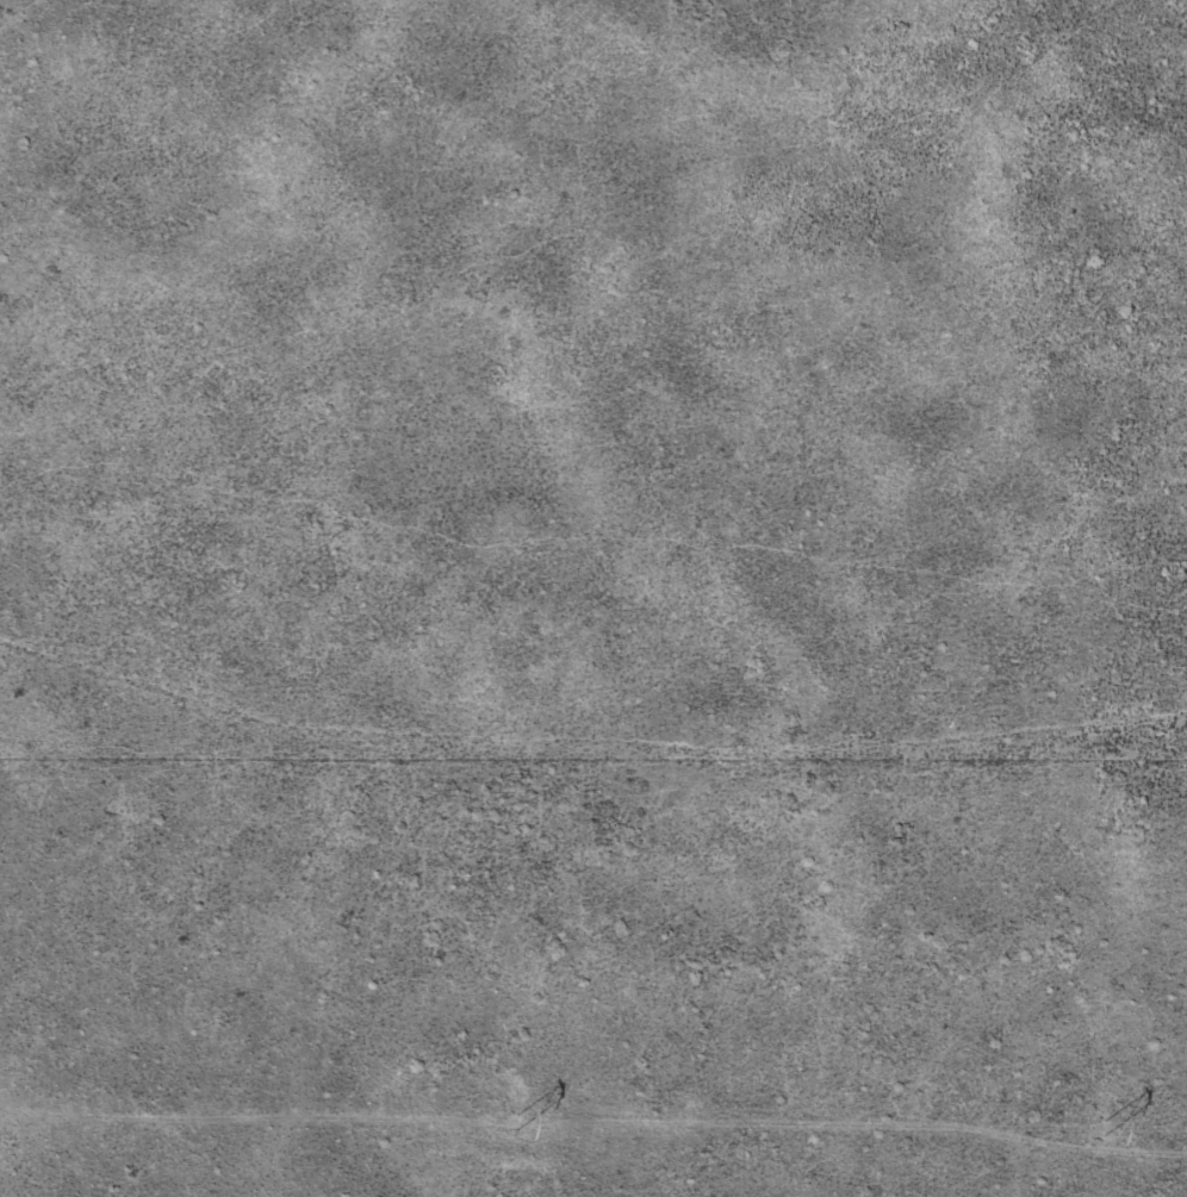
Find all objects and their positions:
power tower: (524, 1118)
power tower: (1102, 1129)

